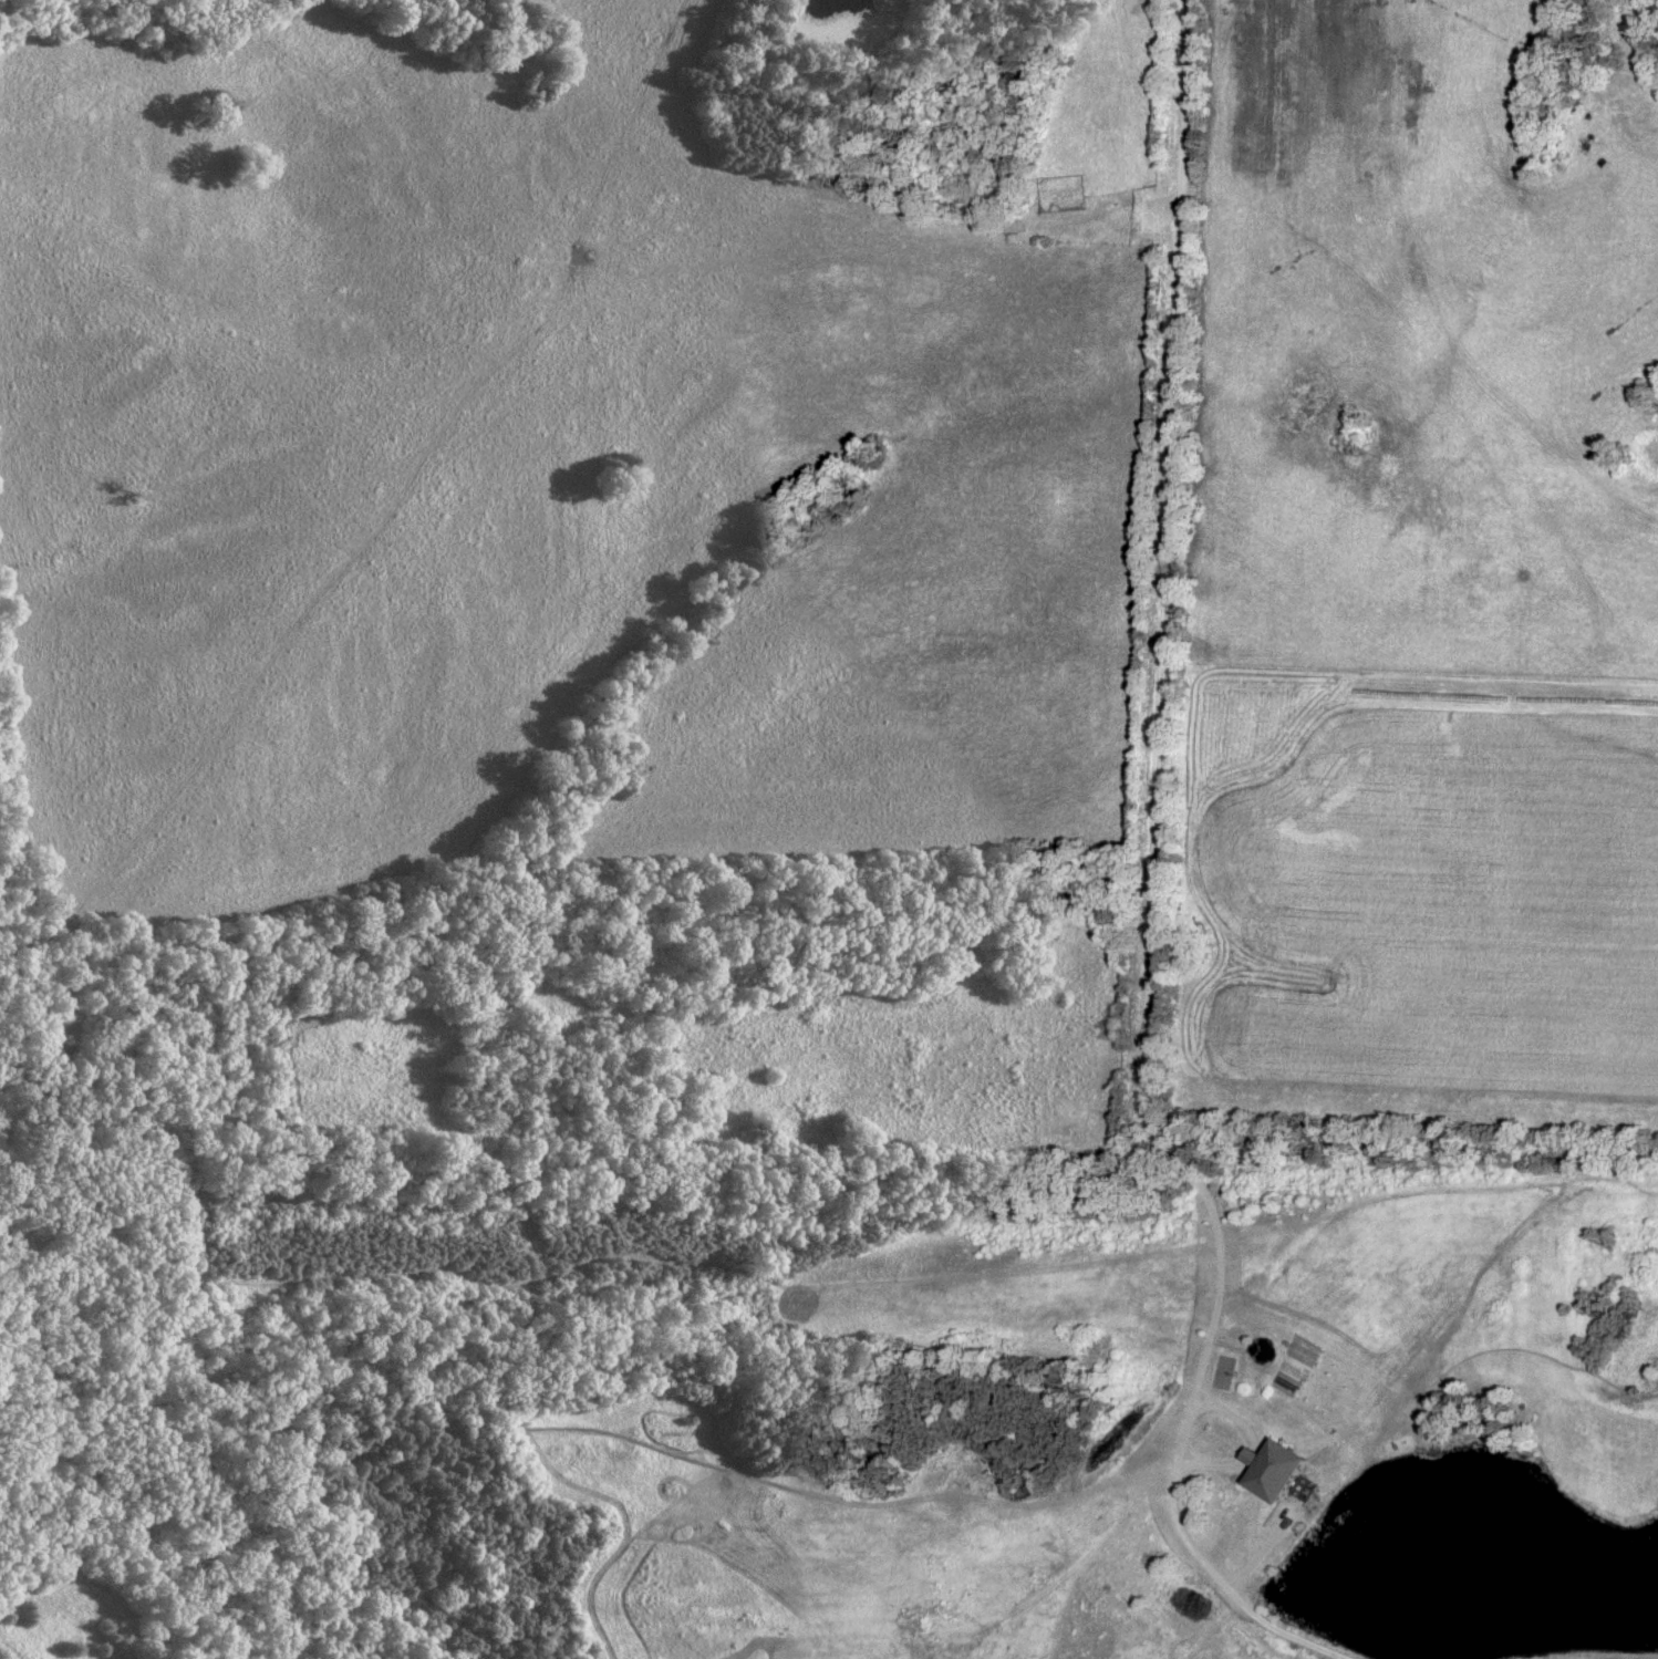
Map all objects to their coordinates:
road: (1161, 819)
road: (1180, 1445)
building: (1270, 1471)

